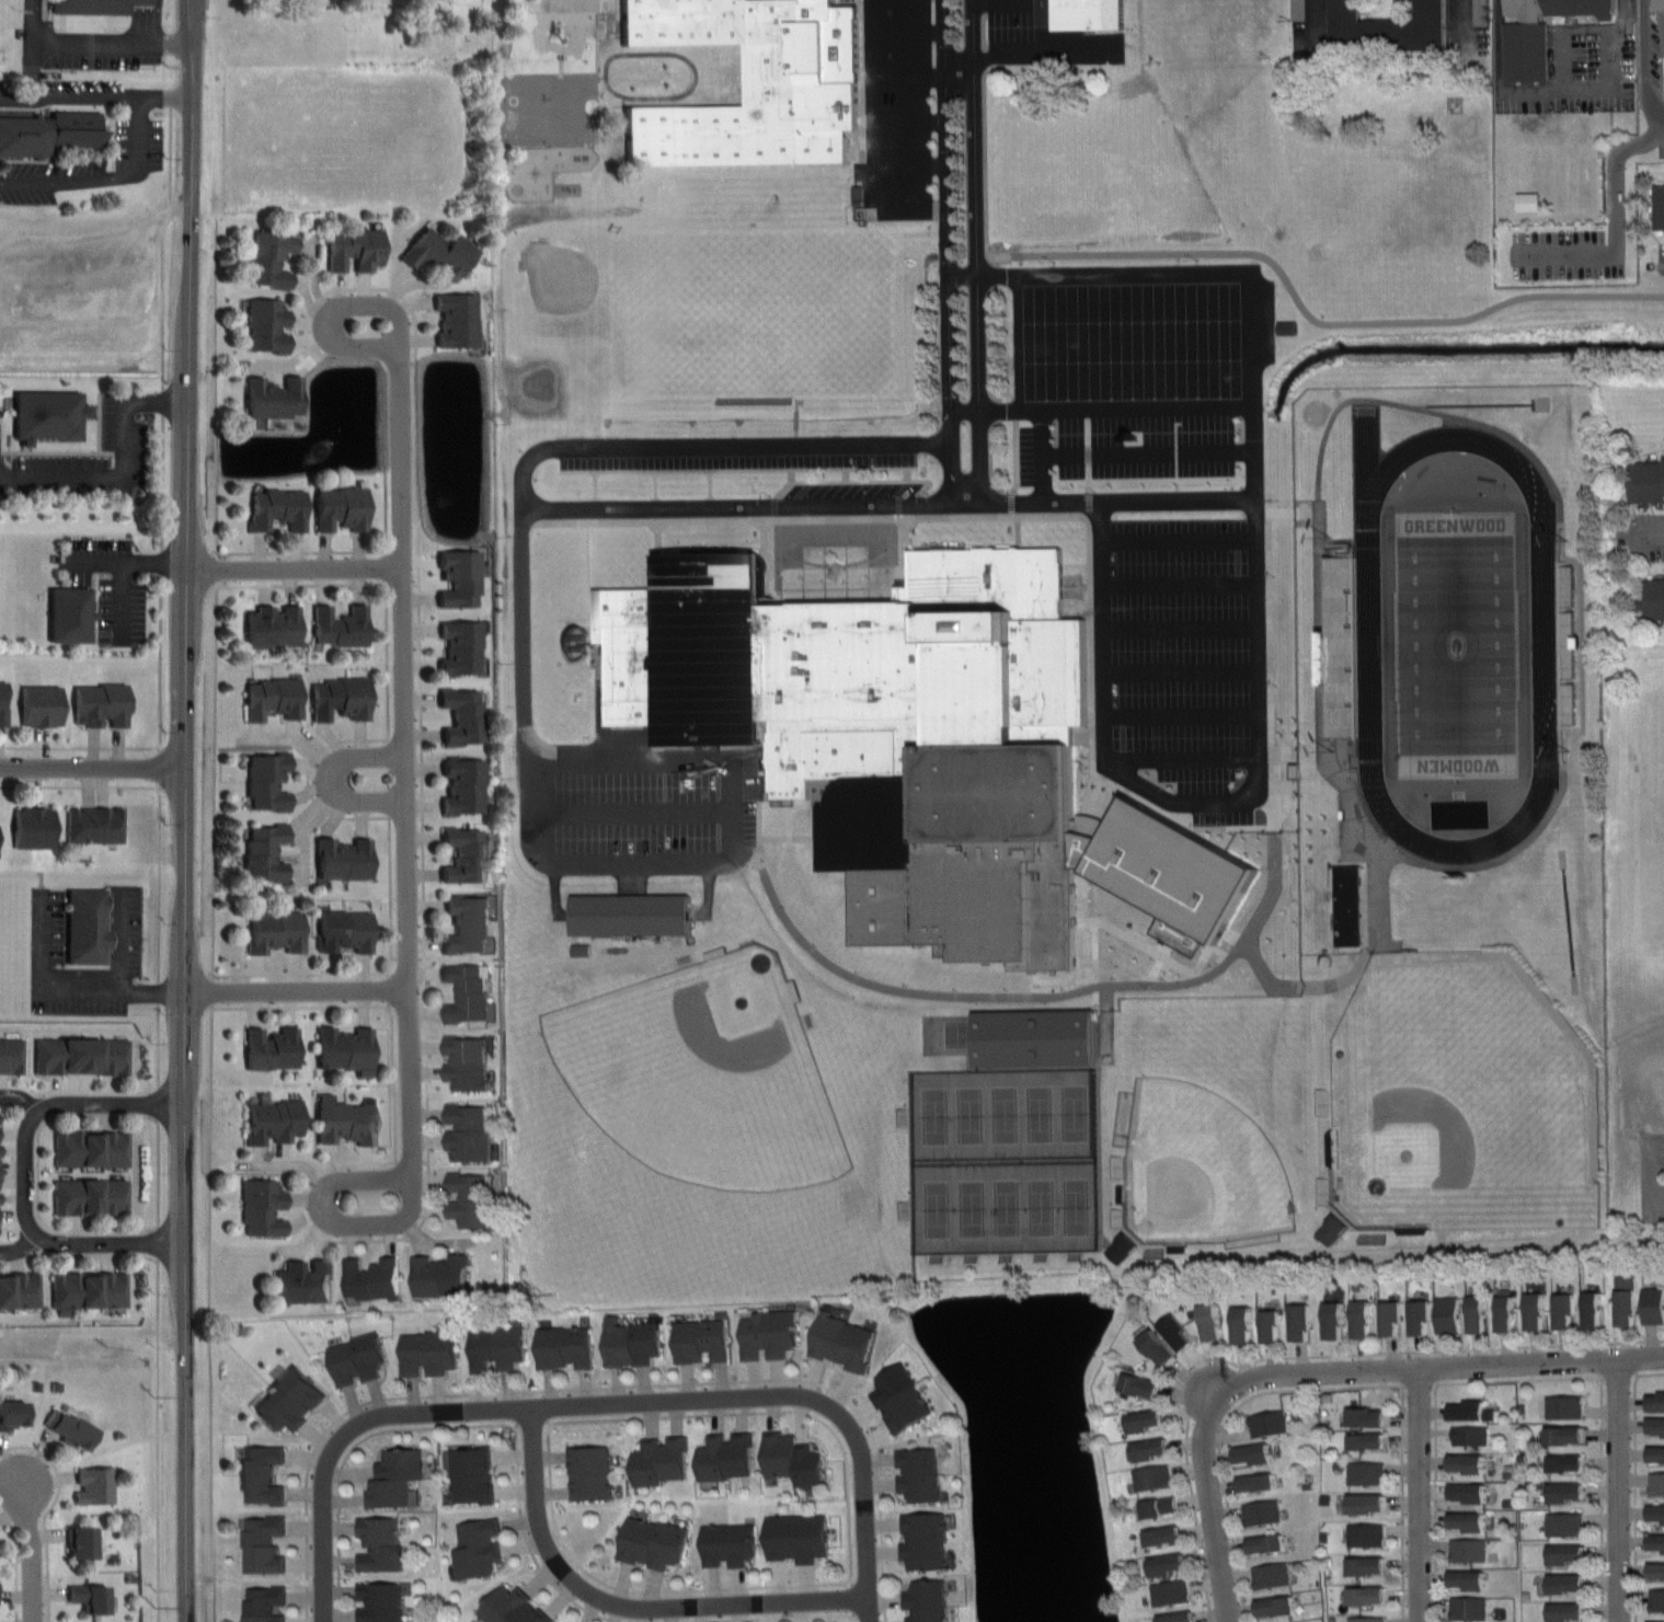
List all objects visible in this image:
road: (204, 2)
building: (1661, 4)
building: (95, 7)
building: (1297, 9)
building: (1478, 12)
road: (1315, 14)
building: (1087, 18)
road: (1462, 21)
building: (1389, 25)
road: (906, 30)
building: (1537, 33)
parking lot: (1040, 39)
road: (95, 43)
road: (1024, 49)
road: (957, 64)
building: (781, 70)
road: (908, 70)
road: (692, 72)
road: (1644, 74)
road: (598, 77)
road: (1554, 89)
road: (164, 95)
parking lot: (891, 97)
road: (620, 110)
road: (908, 120)
road: (136, 129)
building: (54, 134)
road: (871, 137)
road: (908, 164)
building: (856, 196)
building: (1530, 202)
building: (1657, 206)
road: (1614, 225)
building: (356, 249)
building: (441, 253)
road: (974, 253)
road: (946, 254)
building: (273, 258)
park: (750, 311)
road: (1308, 312)
building: (459, 320)
building: (268, 326)
building: (1288, 327)
road: (415, 379)
road: (217, 391)
building: (275, 399)
road: (1101, 407)
road: (96, 411)
building: (56, 422)
road: (102, 423)
road: (164, 429)
road: (750, 440)
road: (18, 451)
road: (71, 452)
road: (1145, 452)
road: (1036, 455)
parking lot: (1059, 458)
parking lot: (734, 463)
road: (737, 470)
road: (126, 471)
road: (844, 475)
road: (905, 475)
road: (790, 476)
road: (1253, 478)
building: (1645, 480)
road: (856, 483)
road: (654, 485)
road: (709, 485)
road: (596, 486)
parking lot: (851, 492)
road: (1110, 499)
road: (739, 507)
building: (278, 509)
building: (342, 509)
road: (1042, 518)
road: (387, 538)
road: (1015, 538)
road: (1650, 538)
road: (652, 557)
road: (905, 564)
road: (768, 565)
road: (299, 566)
road: (122, 567)
building: (461, 579)
road: (303, 584)
building: (1654, 598)
building: (72, 616)
road: (1075, 621)
building: (274, 626)
building: (341, 626)
parking lot: (1173, 639)
track: (1542, 641)
park: (1456, 644)
building: (1342, 647)
building: (462, 648)
building: (274, 699)
building: (342, 699)
building: (3, 704)
building: (103, 705)
building: (44, 706)
building: (463, 716)
building: (883, 738)
road: (364, 739)
road: (1081, 741)
road: (78, 746)
road: (88, 764)
road: (422, 773)
road: (408, 774)
road: (216, 777)
road: (332, 779)
building: (269, 781)
road: (76, 785)
building: (464, 787)
road: (627, 807)
parking lot: (629, 809)
road: (175, 810)
park: (1651, 812)
building: (94, 825)
building: (1094, 827)
building: (34, 828)
building: (266, 853)
building: (466, 855)
road: (561, 855)
road: (1082, 855)
building: (345, 860)
building: (1171, 874)
road: (391, 887)
road: (1083, 889)
building: (1347, 911)
building: (628, 921)
road: (1083, 924)
building: (89, 925)
building: (468, 925)
building: (345, 931)
road: (159, 932)
building: (276, 932)
park: (1633, 935)
building: (581, 950)
road: (391, 962)
road: (303, 974)
road: (291, 987)
road: (69, 989)
building: (469, 992)
road: (1034, 996)
road: (301, 1006)
building: (1031, 1045)
building: (273, 1049)
building: (347, 1050)
building: (11, 1055)
building: (81, 1055)
road: (425, 1062)
building: (468, 1063)
park: (709, 1069)
road: (393, 1080)
park: (1449, 1105)
road: (91, 1116)
building: (274, 1119)
building: (347, 1119)
building: (469, 1130)
building: (91, 1148)
road: (1656, 1148)
park: (1003, 1159)
road: (14, 1172)
road: (261, 1172)
road: (26, 1174)
park: (1197, 1174)
parking lot: (1651, 1174)
road: (1649, 1176)
building: (91, 1196)
building: (471, 1198)
road: (1656, 1203)
building: (264, 1207)
building: (1333, 1228)
road: (112, 1230)
road: (326, 1238)
building: (1124, 1247)
building: (440, 1275)
building: (372, 1278)
building: (305, 1281)
building: (20, 1290)
building: (89, 1290)
building: (1638, 1302)
building: (1594, 1309)
building: (1565, 1310)
building: (1536, 1311)
building: (1478, 1313)
building: (1507, 1313)
road: (210, 1314)
building: (1447, 1314)
building: (1420, 1316)
building: (1391, 1318)
building: (1363, 1319)
building: (1334, 1320)
building: (1301, 1321)
building: (1212, 1322)
building: (1243, 1324)
building: (1272, 1325)
building: (769, 1333)
building: (1180, 1333)
building: (702, 1341)
building: (632, 1342)
building: (844, 1342)
building: (565, 1346)
building: (497, 1347)
building: (1161, 1347)
building: (428, 1351)
road: (1293, 1356)
building: (358, 1357)
road: (1434, 1370)
road: (1650, 1372)
road: (1517, 1379)
road: (600, 1385)
building: (1145, 1385)
building: (290, 1396)
building: (902, 1399)
building: (1656, 1401)
road: (655, 1406)
building: (1565, 1406)
road: (770, 1411)
building: (1472, 1411)
building: (14, 1414)
building: (1372, 1416)
building: (1146, 1420)
building: (1267, 1423)
road: (514, 1425)
building: (1655, 1425)
road: (1220, 1428)
building: (72, 1429)
building: (1570, 1434)
building: (1471, 1435)
building: (1370, 1440)
road: (159, 1441)
building: (1150, 1449)
road: (347, 1451)
building: (1255, 1453)
building: (1655, 1453)
building: (726, 1456)
building: (792, 1459)
building: (661, 1460)
building: (1468, 1462)
building: (1571, 1462)
building: (589, 1472)
building: (919, 1473)
building: (1366, 1473)
building: (262, 1474)
building: (471, 1474)
building: (1152, 1477)
building: (395, 1479)
building: (1259, 1482)
building: (1656, 1484)
building: (95, 1485)
road: (1633, 1491)
building: (1470, 1492)
building: (1568, 1492)
road: (1619, 1492)
road: (1416, 1496)
road: (1600, 1498)
building: (1368, 1503)
road: (1401, 1503)
road: (1434, 1503)
building: (1161, 1506)
road: (49, 1509)
road: (1218, 1511)
building: (1262, 1511)
building: (1656, 1514)
building: (1469, 1520)
building: (1565, 1523)
building: (1366, 1534)
building: (1167, 1535)
building: (797, 1537)
road: (31, 1540)
building: (925, 1541)
building: (83, 1542)
building: (653, 1542)
building: (1655, 1542)
building: (263, 1543)
building: (728, 1543)
building: (1269, 1543)
building: (379, 1544)
building: (478, 1548)
road: (528, 1550)
building: (1468, 1550)
building: (1569, 1554)
road: (324, 1555)
road: (16, 1563)
building: (1167, 1564)
building: (1372, 1565)
building: (1656, 1571)
building: (1272, 1575)
building: (1469, 1579)
building: (1569, 1583)
road: (634, 1590)
building: (1171, 1592)
building: (1372, 1595)
building: (92, 1598)
road: (628, 1599)
building: (1657, 1599)
building: (927, 1601)
building: (380, 1602)
building: (263, 1603)
building: (1277, 1606)
building: (514, 1608)
building: (1468, 1608)
road: (871, 1611)
building: (1569, 1612)
road: (849, 1617)
building: (1180, 1617)
road: (754, 1618)
building: (1367, 1619)
building: (1660, 1621)

